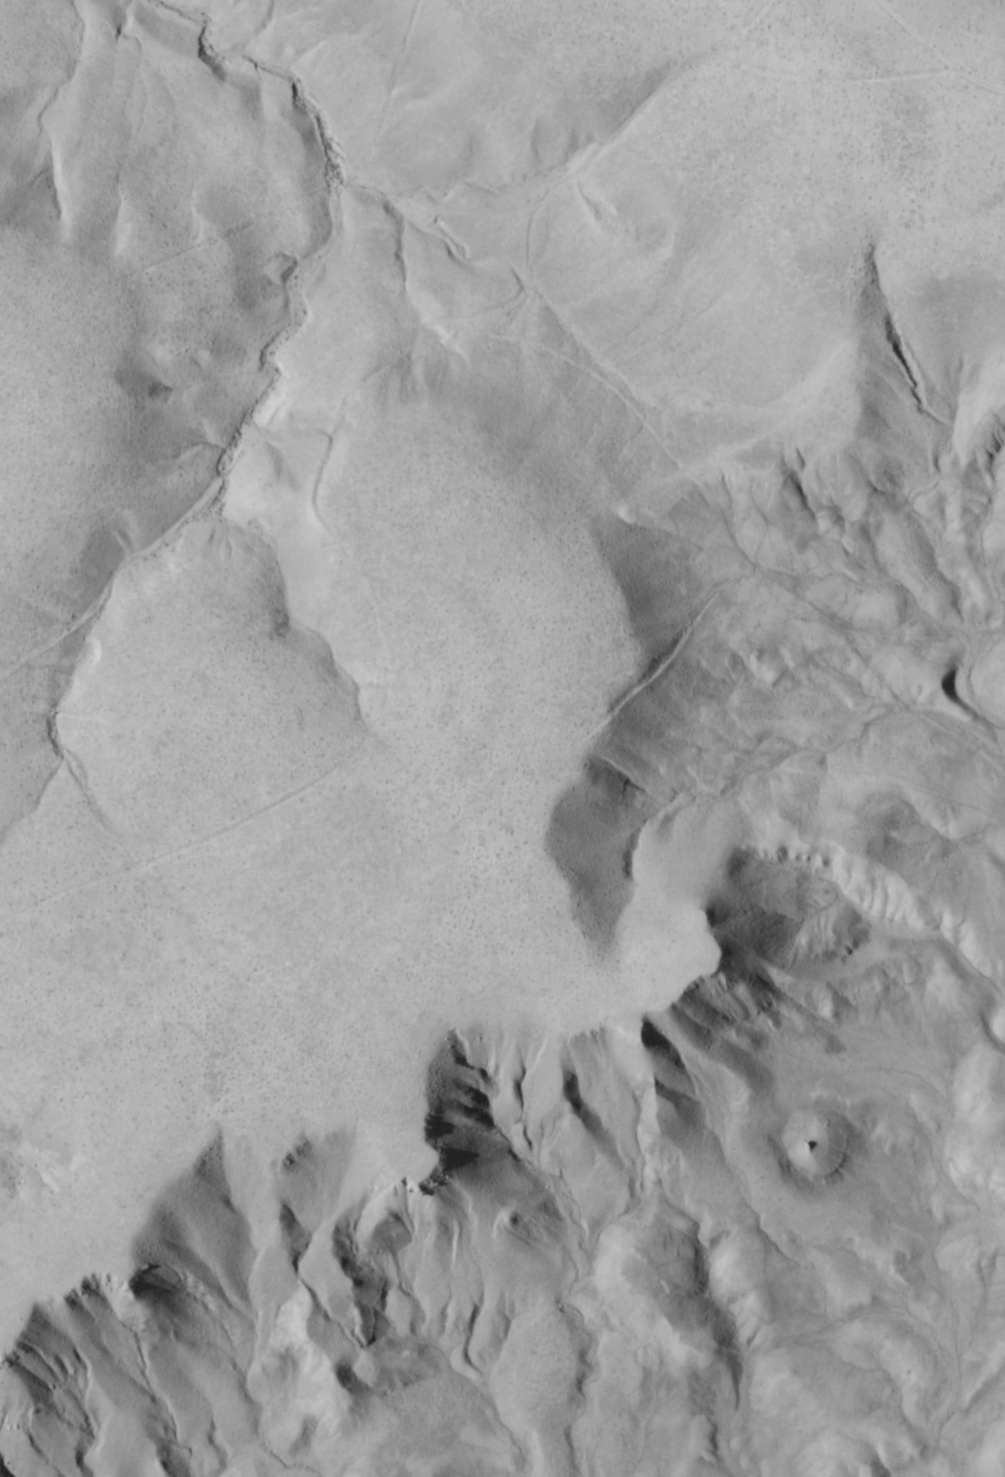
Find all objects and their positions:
road: (934, 56)

